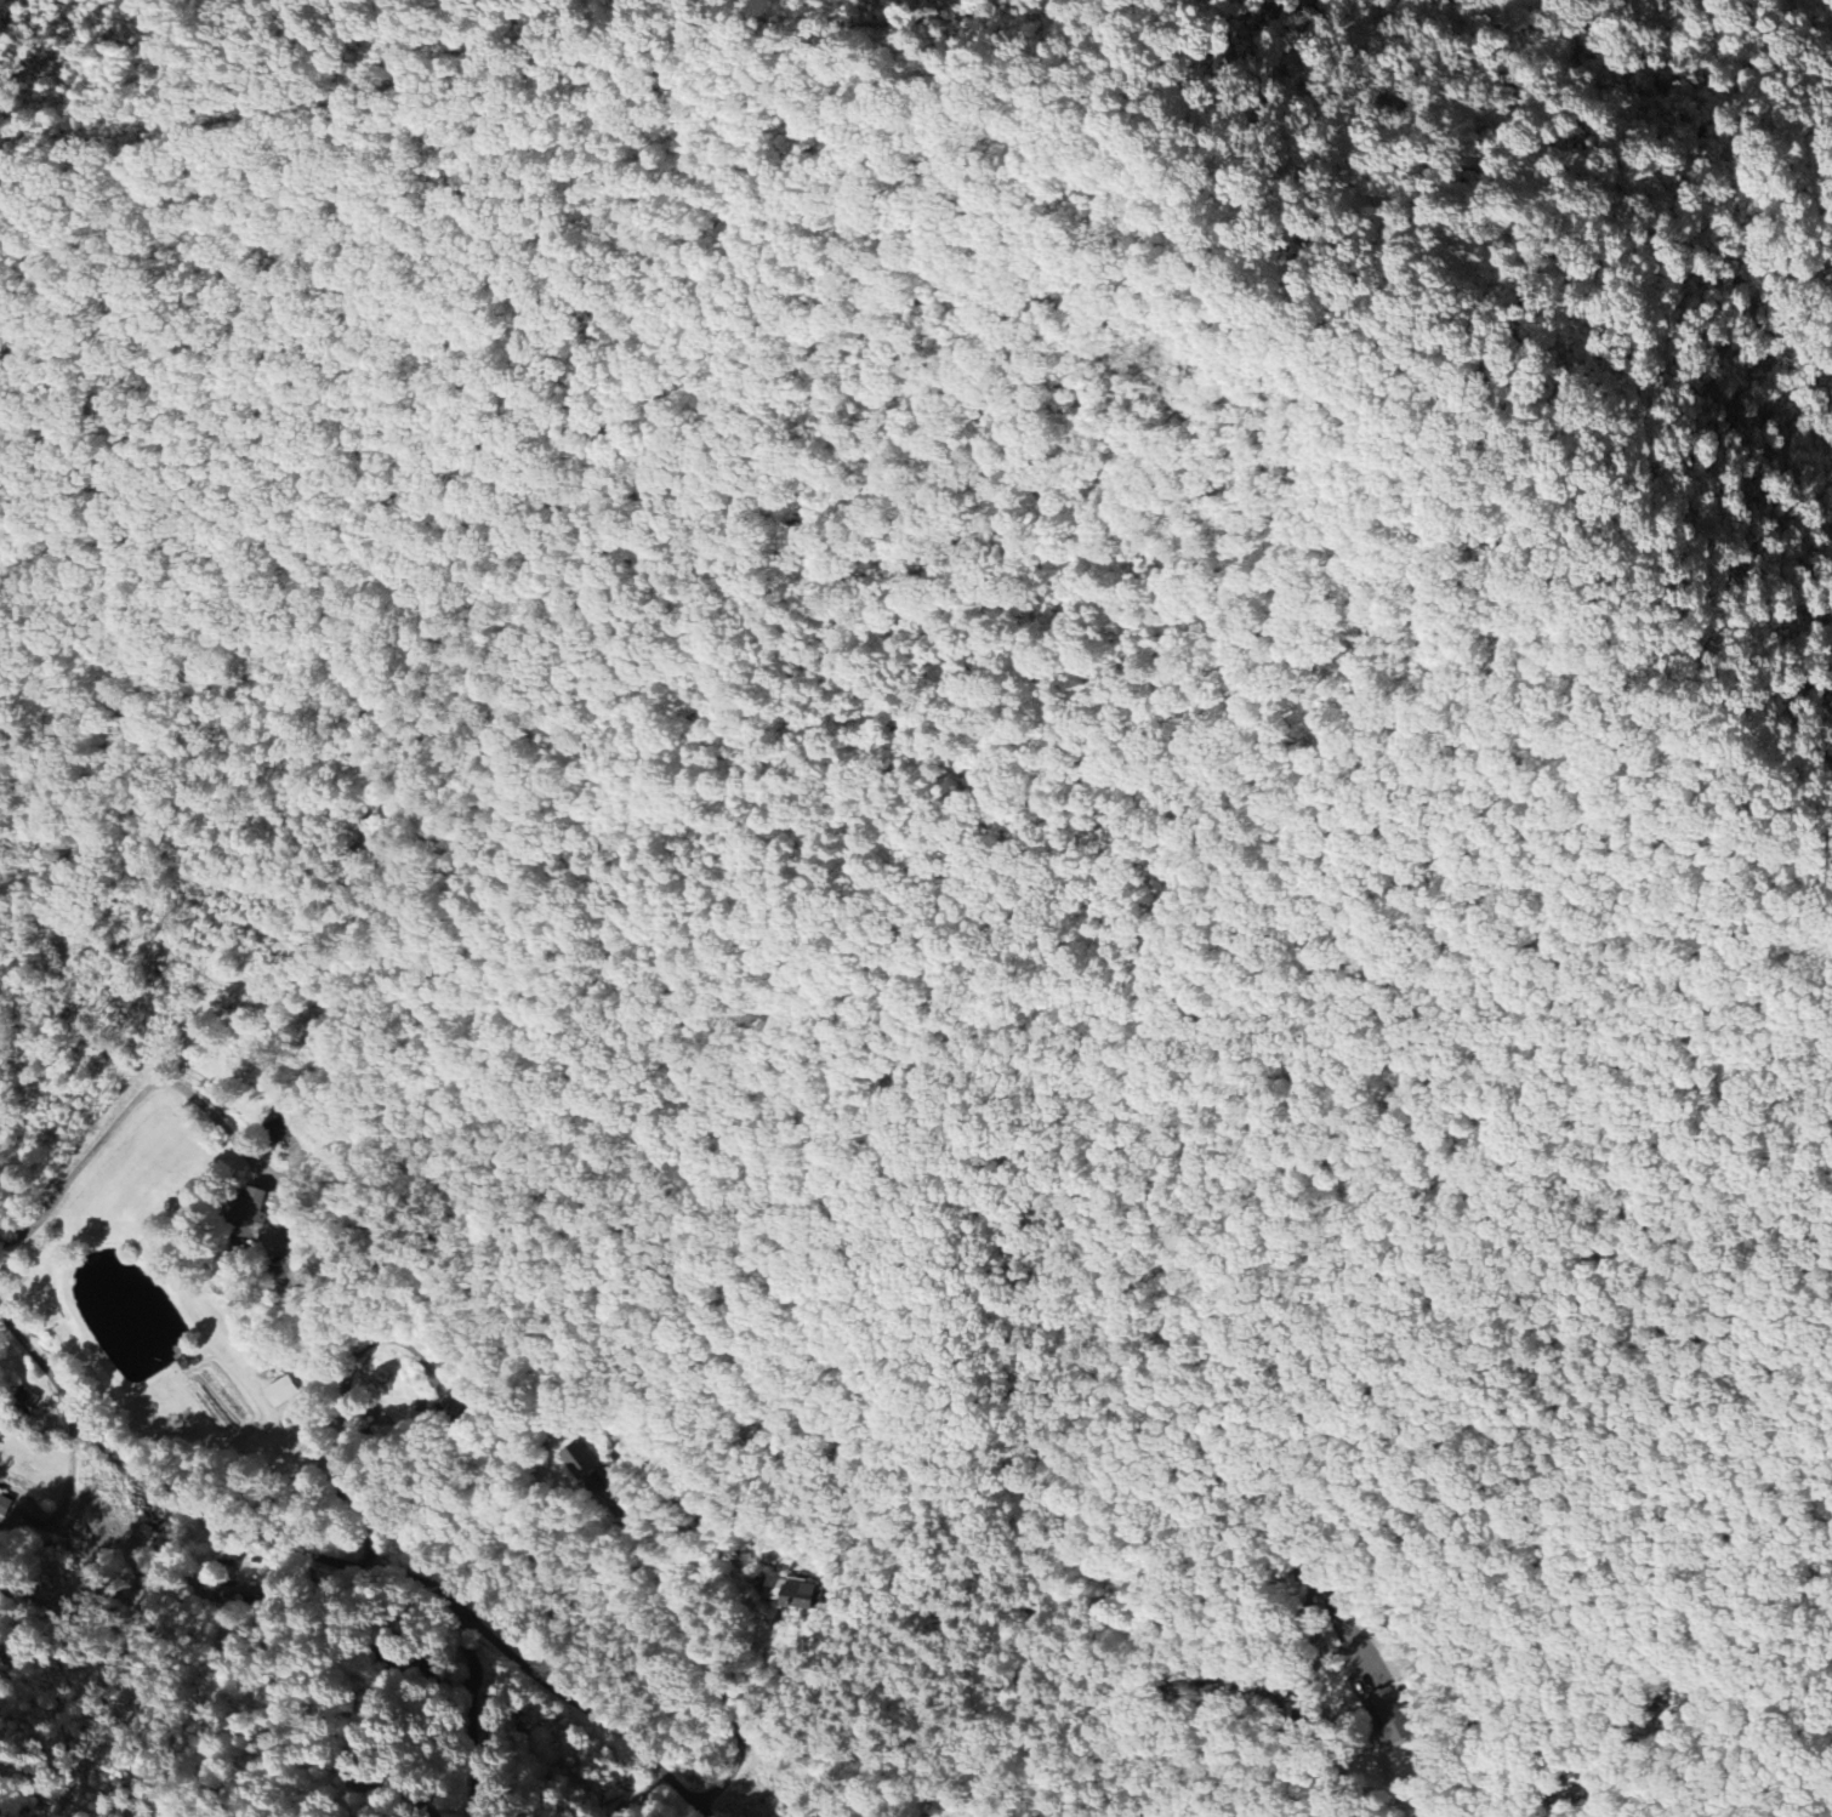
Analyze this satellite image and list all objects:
building: (22, 1399)
building: (4, 1504)
road: (341, 1560)
building: (774, 1585)
building: (227, 1591)
road: (1359, 1608)
road: (706, 1658)

